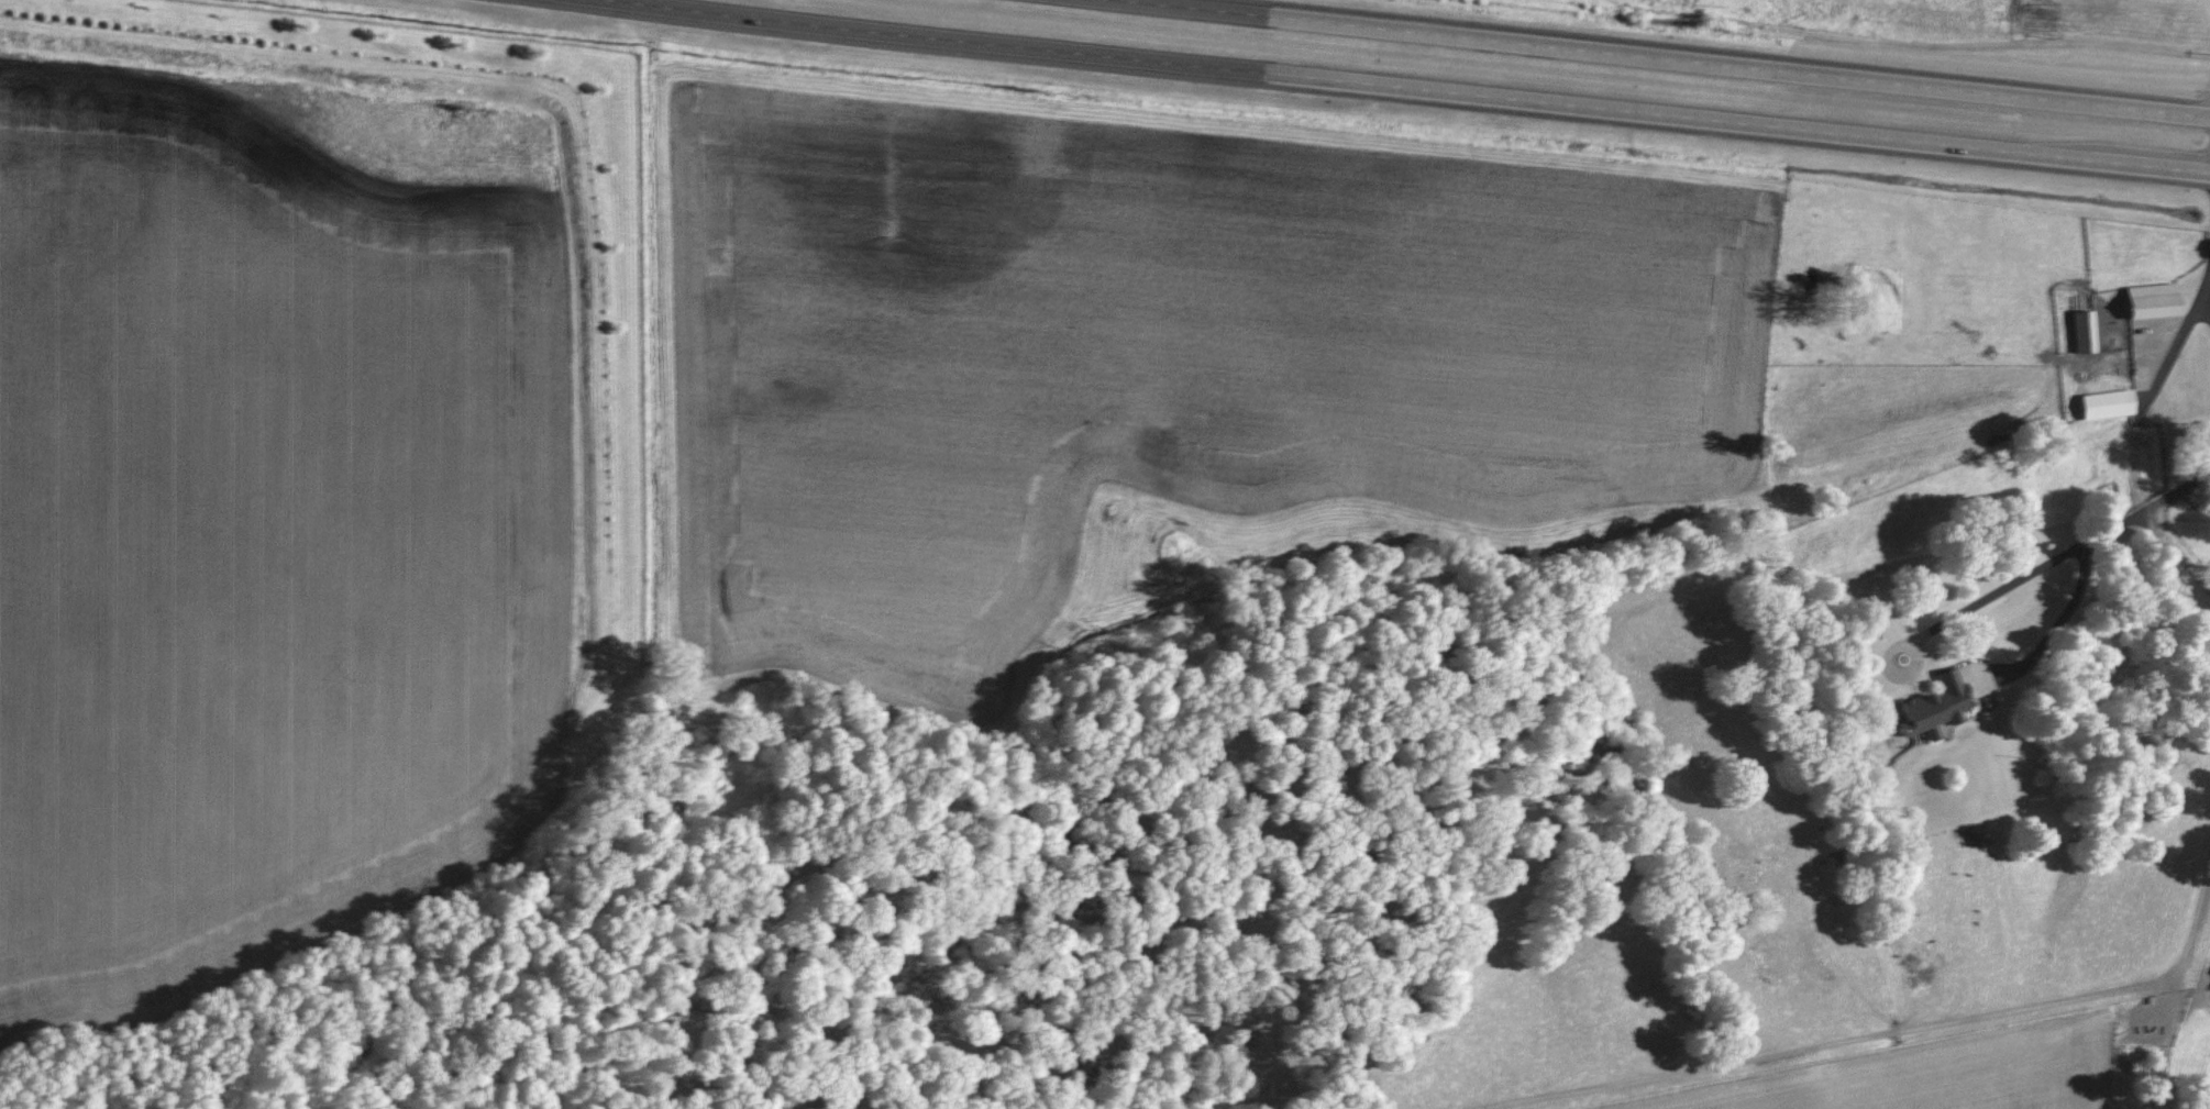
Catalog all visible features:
road: (1657, 59)
road: (1408, 90)
building: (2150, 299)
building: (2081, 330)
building: (2107, 402)
road: (2046, 561)
road: (2062, 623)
building: (1932, 703)

